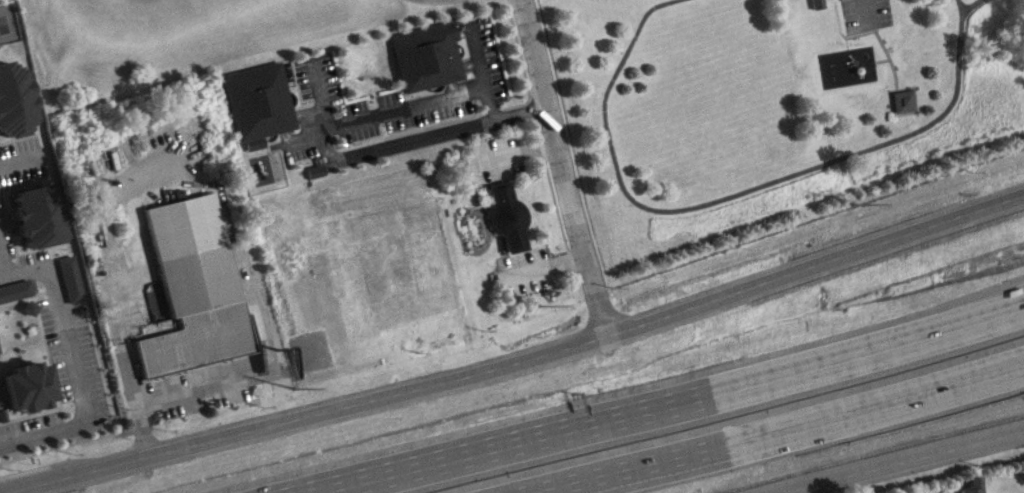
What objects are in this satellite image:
building: (814, 4)
road: (955, 8)
road: (967, 8)
parking lot: (862, 15)
road: (873, 35)
road: (862, 44)
building: (424, 56)
building: (13, 101)
building: (901, 101)
building: (255, 103)
park: (773, 107)
road: (329, 154)
road: (562, 167)
road: (723, 199)
building: (34, 216)
building: (504, 219)
road: (0, 271)
building: (67, 279)
building: (190, 288)
building: (14, 290)
road: (59, 325)
road: (517, 361)
road: (606, 363)
building: (24, 386)
road: (166, 389)
road: (673, 405)
road: (775, 430)
road: (43, 436)
road: (899, 462)
building: (970, 485)
road: (778, 490)

